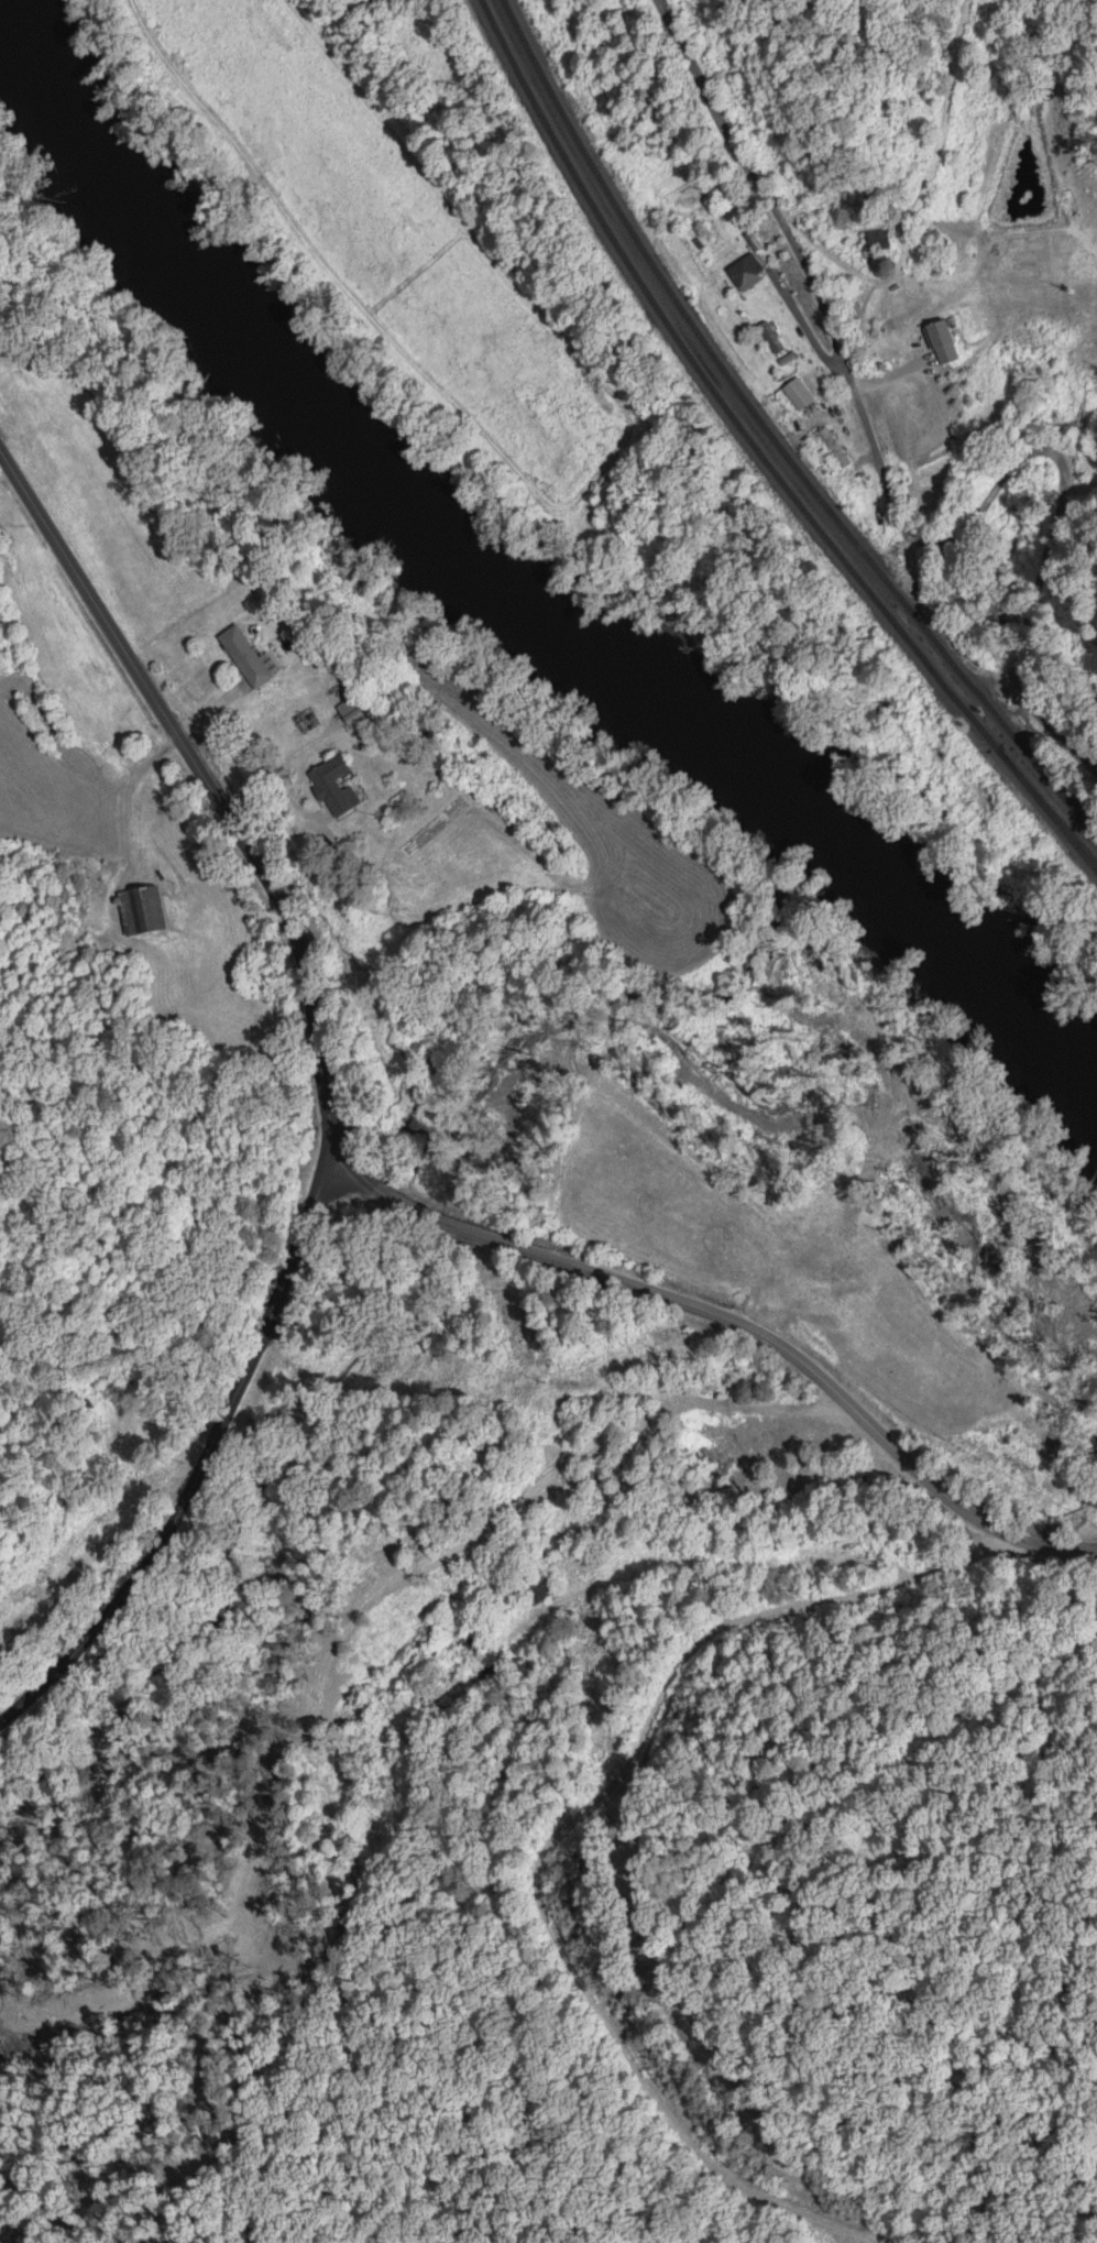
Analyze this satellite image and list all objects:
building: (870, 241)
building: (745, 272)
building: (769, 337)
building: (936, 341)
building: (797, 394)
railway: (770, 437)
road: (901, 442)
building: (834, 447)
river: (517, 610)
building: (255, 658)
building: (358, 711)
building: (341, 792)
building: (146, 912)
road: (371, 1183)
road: (207, 1455)
road: (559, 1840)

